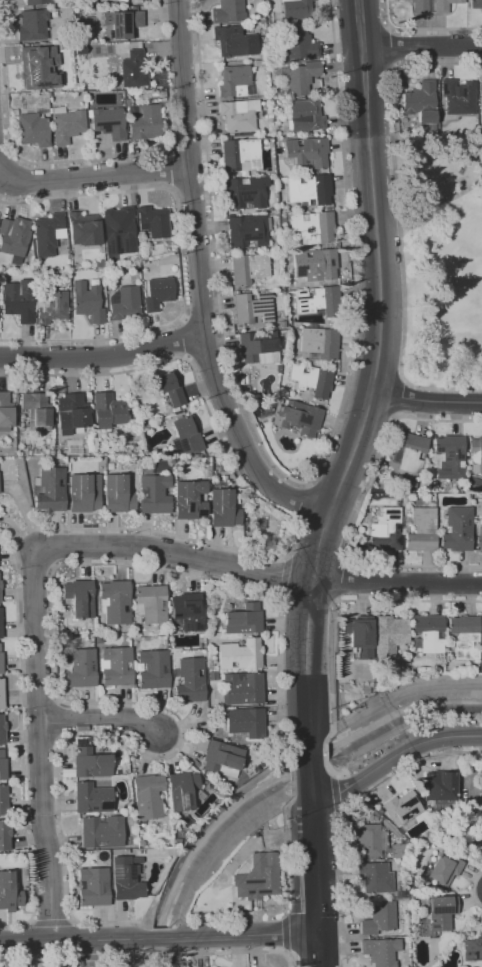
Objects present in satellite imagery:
building: (40, 2)
building: (86, 2)
building: (476, 3)
building: (443, 5)
building: (420, 6)
building: (297, 9)
building: (228, 11)
building: (124, 23)
building: (33, 24)
road: (360, 25)
road: (422, 29)
building: (231, 41)
building: (298, 44)
road: (385, 46)
road: (421, 47)
building: (81, 49)
building: (234, 59)
building: (258, 63)
building: (40, 67)
building: (134, 69)
building: (301, 77)
building: (235, 81)
building: (50, 94)
building: (457, 100)
building: (422, 102)
building: (480, 103)
building: (270, 114)
building: (239, 115)
building: (307, 115)
building: (144, 120)
building: (109, 122)
building: (67, 124)
building: (33, 128)
building: (247, 134)
building: (266, 137)
building: (307, 153)
building: (240, 154)
road: (95, 158)
road: (171, 170)
road: (3, 172)
road: (209, 174)
road: (99, 175)
building: (311, 190)
building: (246, 191)
road: (431, 204)
road: (399, 217)
building: (155, 221)
building: (315, 228)
building: (84, 229)
building: (248, 230)
building: (119, 231)
building: (49, 234)
building: (14, 238)
building: (277, 249)
road: (351, 255)
building: (144, 258)
building: (287, 258)
park: (442, 259)
road: (180, 260)
building: (100, 263)
building: (316, 264)
building: (39, 265)
building: (133, 267)
building: (249, 268)
building: (51, 276)
road: (200, 282)
road: (380, 285)
building: (159, 293)
building: (19, 300)
building: (88, 301)
building: (125, 302)
building: (318, 303)
building: (52, 306)
building: (253, 308)
building: (282, 324)
road: (186, 327)
building: (281, 336)
building: (320, 345)
building: (259, 347)
road: (103, 356)
building: (330, 367)
building: (279, 369)
building: (286, 369)
building: (312, 379)
building: (246, 380)
building: (169, 387)
building: (309, 392)
road: (396, 397)
road: (428, 400)
building: (106, 410)
building: (35, 411)
building: (5, 412)
building: (70, 412)
building: (300, 417)
building: (187, 434)
building: (477, 451)
building: (410, 452)
building: (449, 457)
building: (49, 488)
building: (83, 492)
building: (153, 493)
building: (116, 494)
building: (188, 499)
building: (222, 508)
road: (359, 510)
building: (458, 529)
building: (387, 530)
building: (420, 530)
building: (479, 537)
road: (318, 546)
road: (256, 571)
road: (336, 576)
building: (79, 598)
road: (410, 599)
building: (114, 601)
building: (150, 603)
building: (186, 611)
building: (242, 619)
building: (0, 627)
building: (429, 633)
building: (391, 635)
building: (360, 636)
building: (465, 636)
building: (239, 654)
road: (306, 659)
building: (0, 661)
building: (114, 666)
building: (80, 668)
building: (152, 669)
building: (189, 680)
building: (242, 688)
building: (1, 693)
road: (100, 717)
building: (245, 721)
building: (2, 729)
road: (37, 745)
road: (310, 745)
road: (407, 751)
building: (222, 758)
road: (310, 760)
building: (90, 763)
building: (2, 764)
road: (311, 781)
building: (440, 786)
building: (182, 789)
road: (325, 790)
building: (92, 796)
building: (147, 796)
building: (3, 799)
building: (402, 806)
building: (481, 816)
building: (101, 831)
building: (4, 835)
building: (371, 840)
road: (312, 863)
building: (443, 869)
building: (257, 877)
building: (376, 877)
building: (126, 878)
building: (93, 886)
building: (8, 892)
building: (441, 912)
building: (379, 918)
road: (285, 933)
road: (237, 936)
road: (154, 940)
road: (73, 941)
road: (313, 948)
building: (472, 948)
road: (149, 949)
road: (231, 949)
road: (313, 949)
building: (380, 951)
road: (125, 952)
road: (120, 953)
road: (87, 954)
road: (87, 954)

